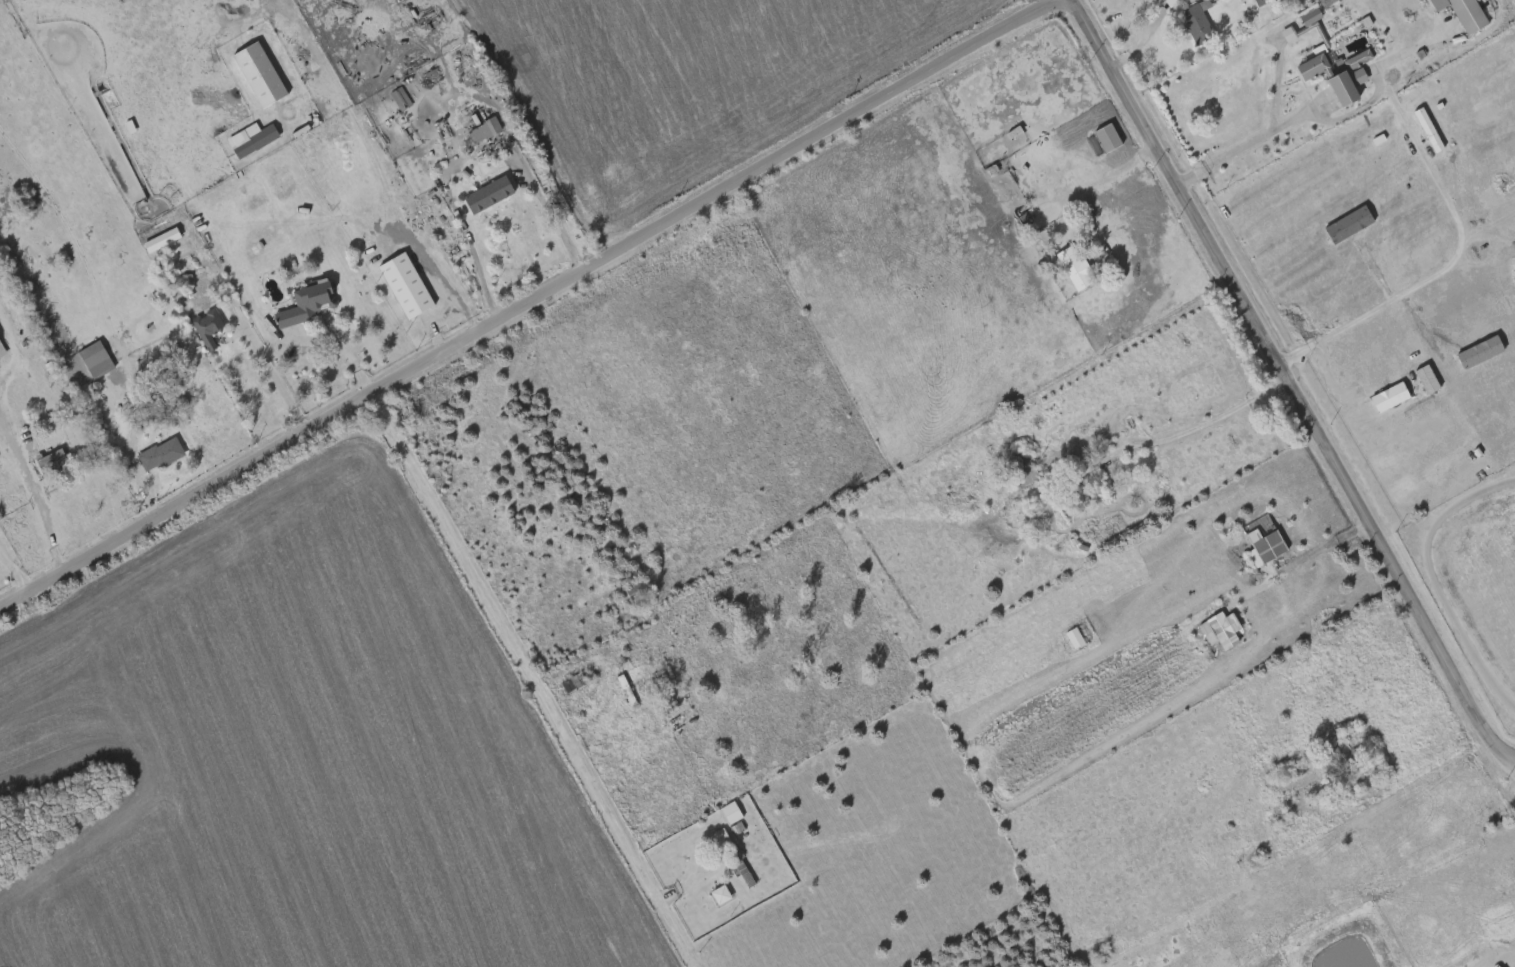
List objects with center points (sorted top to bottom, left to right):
building: (1327, 2)
building: (1463, 13)
building: (1197, 21)
building: (1304, 22)
road: (1142, 38)
building: (1359, 60)
building: (1311, 64)
building: (260, 75)
building: (1359, 76)
building: (1341, 86)
building: (400, 99)
road: (1407, 126)
building: (484, 128)
building: (1428, 130)
building: (1107, 136)
building: (254, 140)
road: (1243, 147)
road: (1113, 167)
building: (487, 193)
road: (549, 212)
building: (1026, 218)
building: (1348, 225)
building: (162, 241)
building: (1074, 267)
road: (478, 271)
road: (436, 275)
building: (404, 284)
road: (1419, 286)
building: (306, 302)
road: (529, 305)
building: (206, 326)
road: (245, 327)
road: (337, 344)
building: (1, 352)
building: (95, 358)
road: (1288, 383)
building: (1390, 397)
building: (153, 403)
road: (1203, 420)
building: (160, 453)
building: (50, 459)
road: (131, 465)
building: (1020, 465)
road: (34, 494)
building: (1266, 547)
road: (1322, 547)
road: (14, 575)
building: (636, 589)
building: (1221, 630)
building: (1074, 638)
road: (531, 681)
building: (574, 681)
building: (673, 723)
building: (1343, 753)
building: (729, 812)
building: (720, 836)
building: (740, 867)
building: (720, 894)

